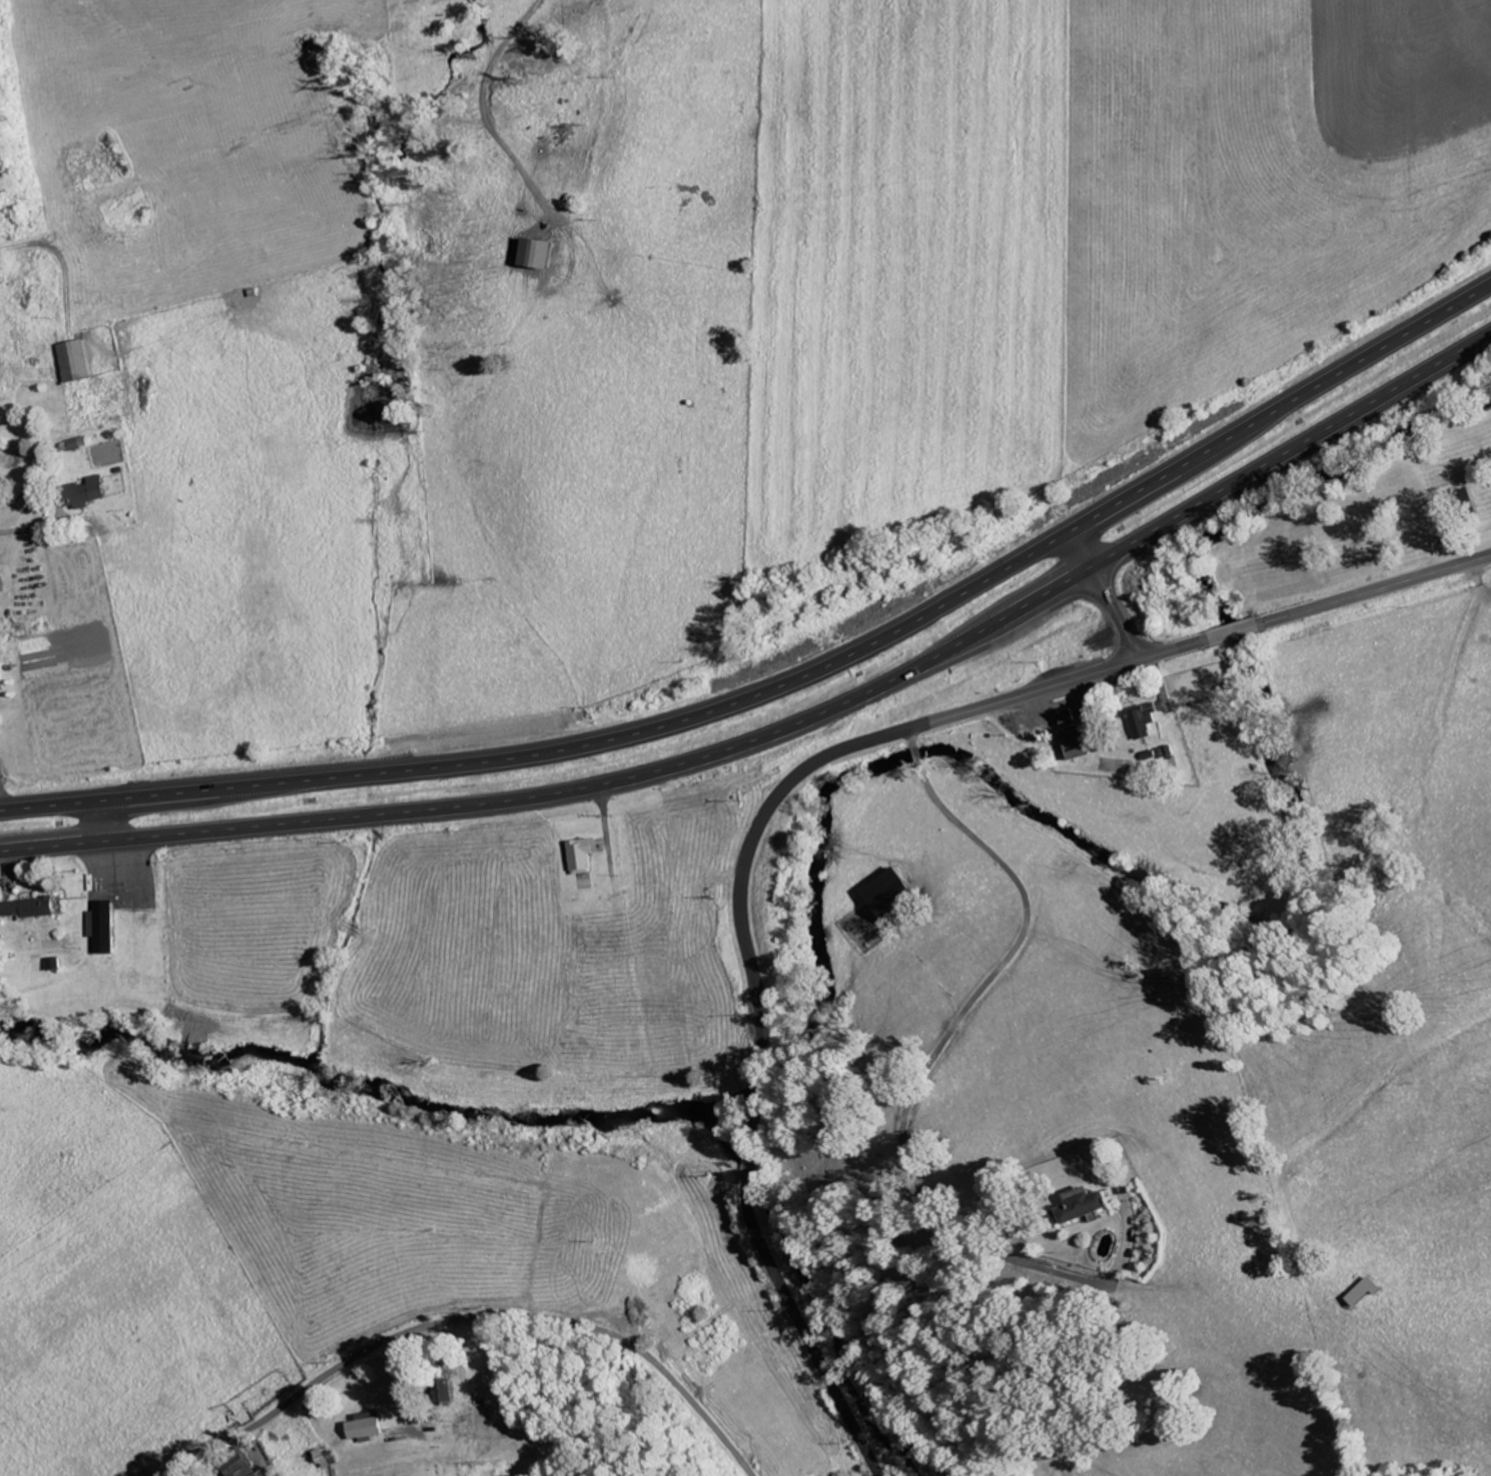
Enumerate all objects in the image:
road: (34, 530)
road: (1081, 548)
road: (1315, 608)
road: (1116, 613)
road: (791, 683)
road: (1444, 688)
road: (790, 725)
road: (105, 821)
road: (747, 952)
road: (931, 1066)
road: (1277, 1179)
road: (472, 1317)

